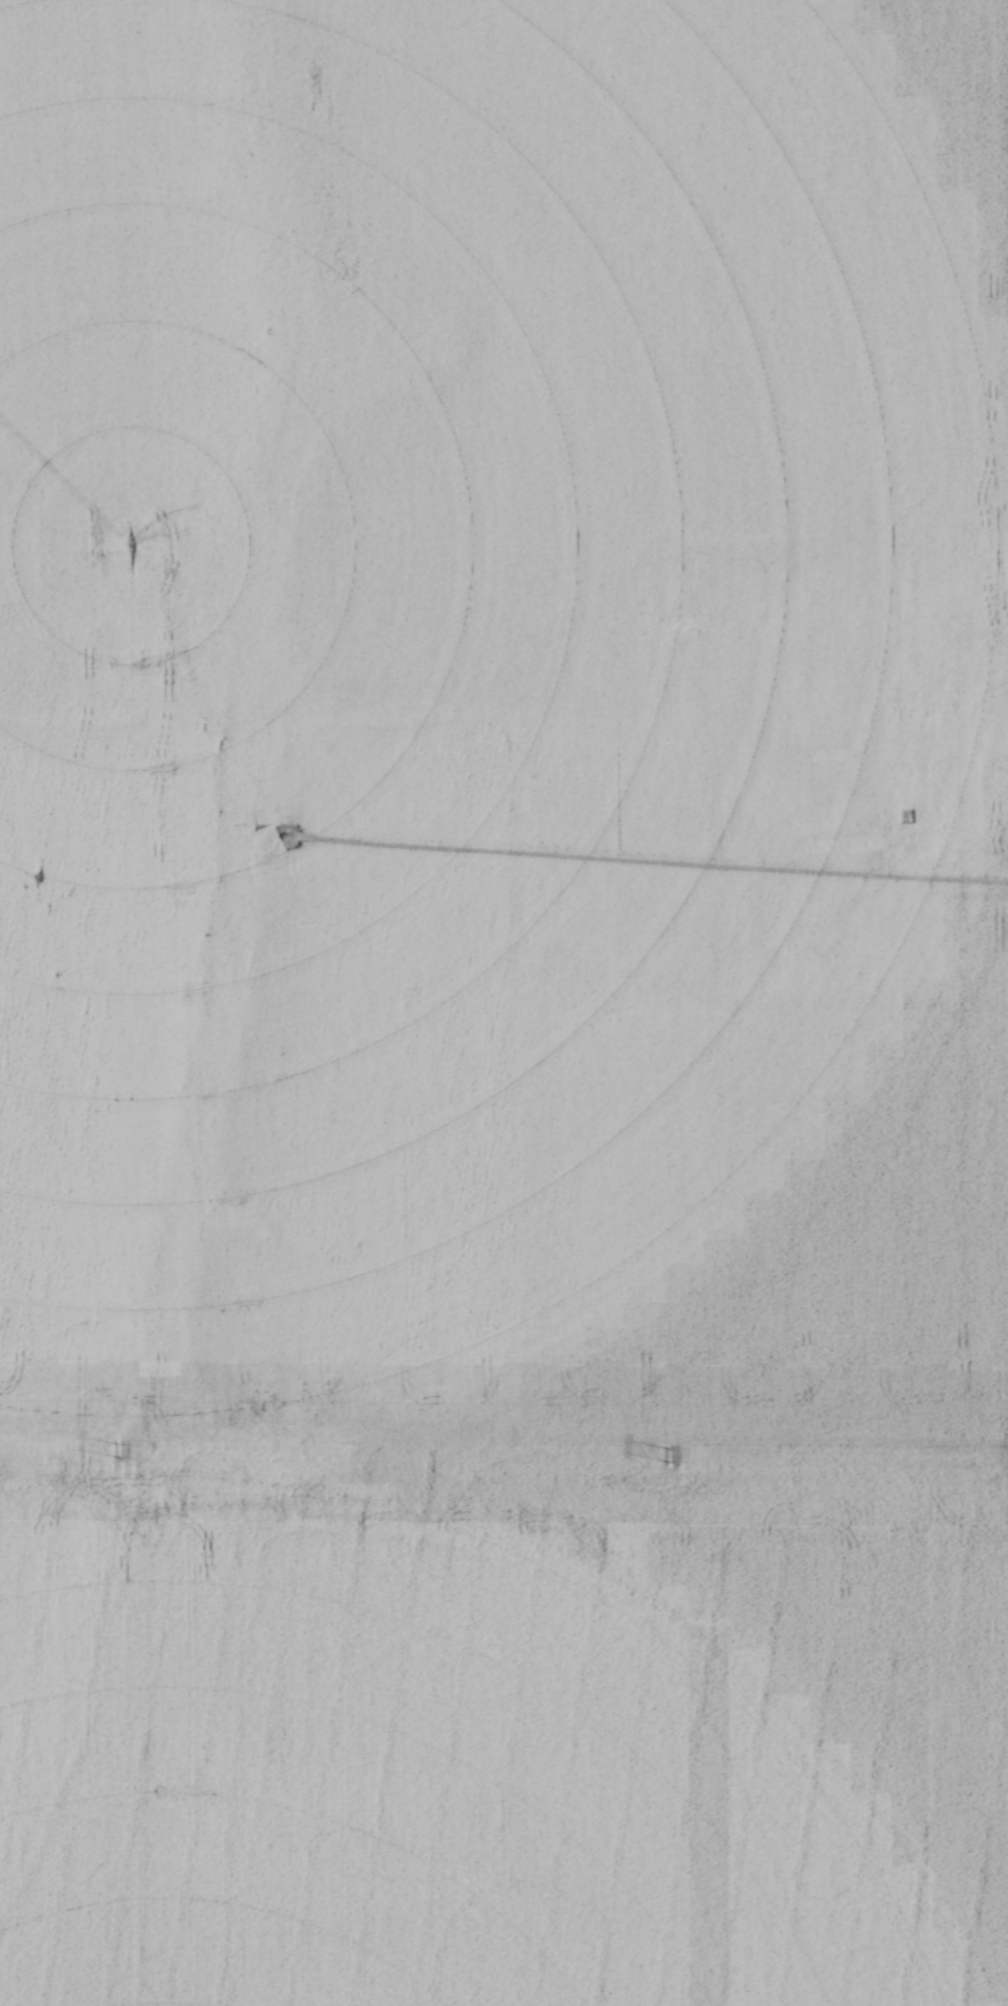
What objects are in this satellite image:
power tower: (118, 1450)
power tower: (668, 1455)

